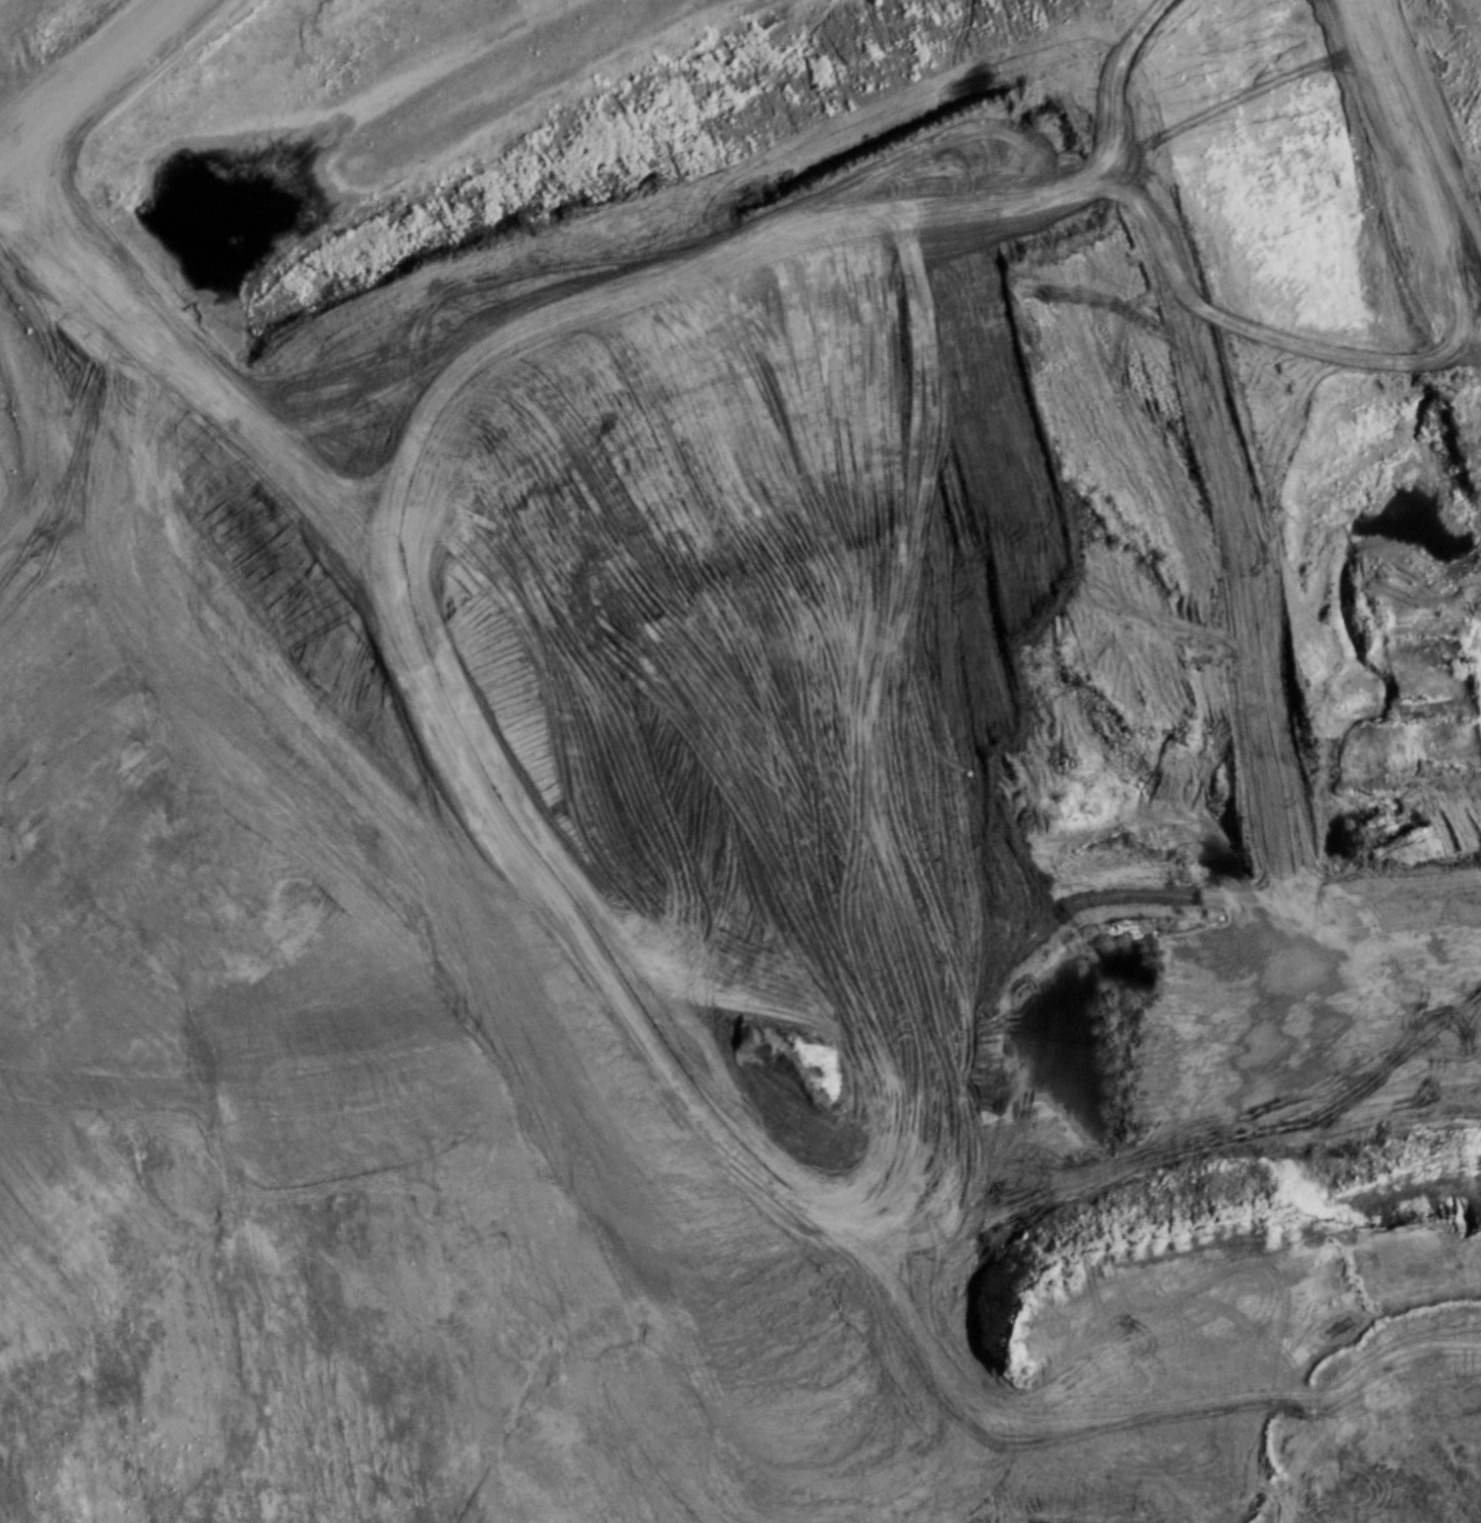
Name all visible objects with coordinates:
quarry: (681, 676)

